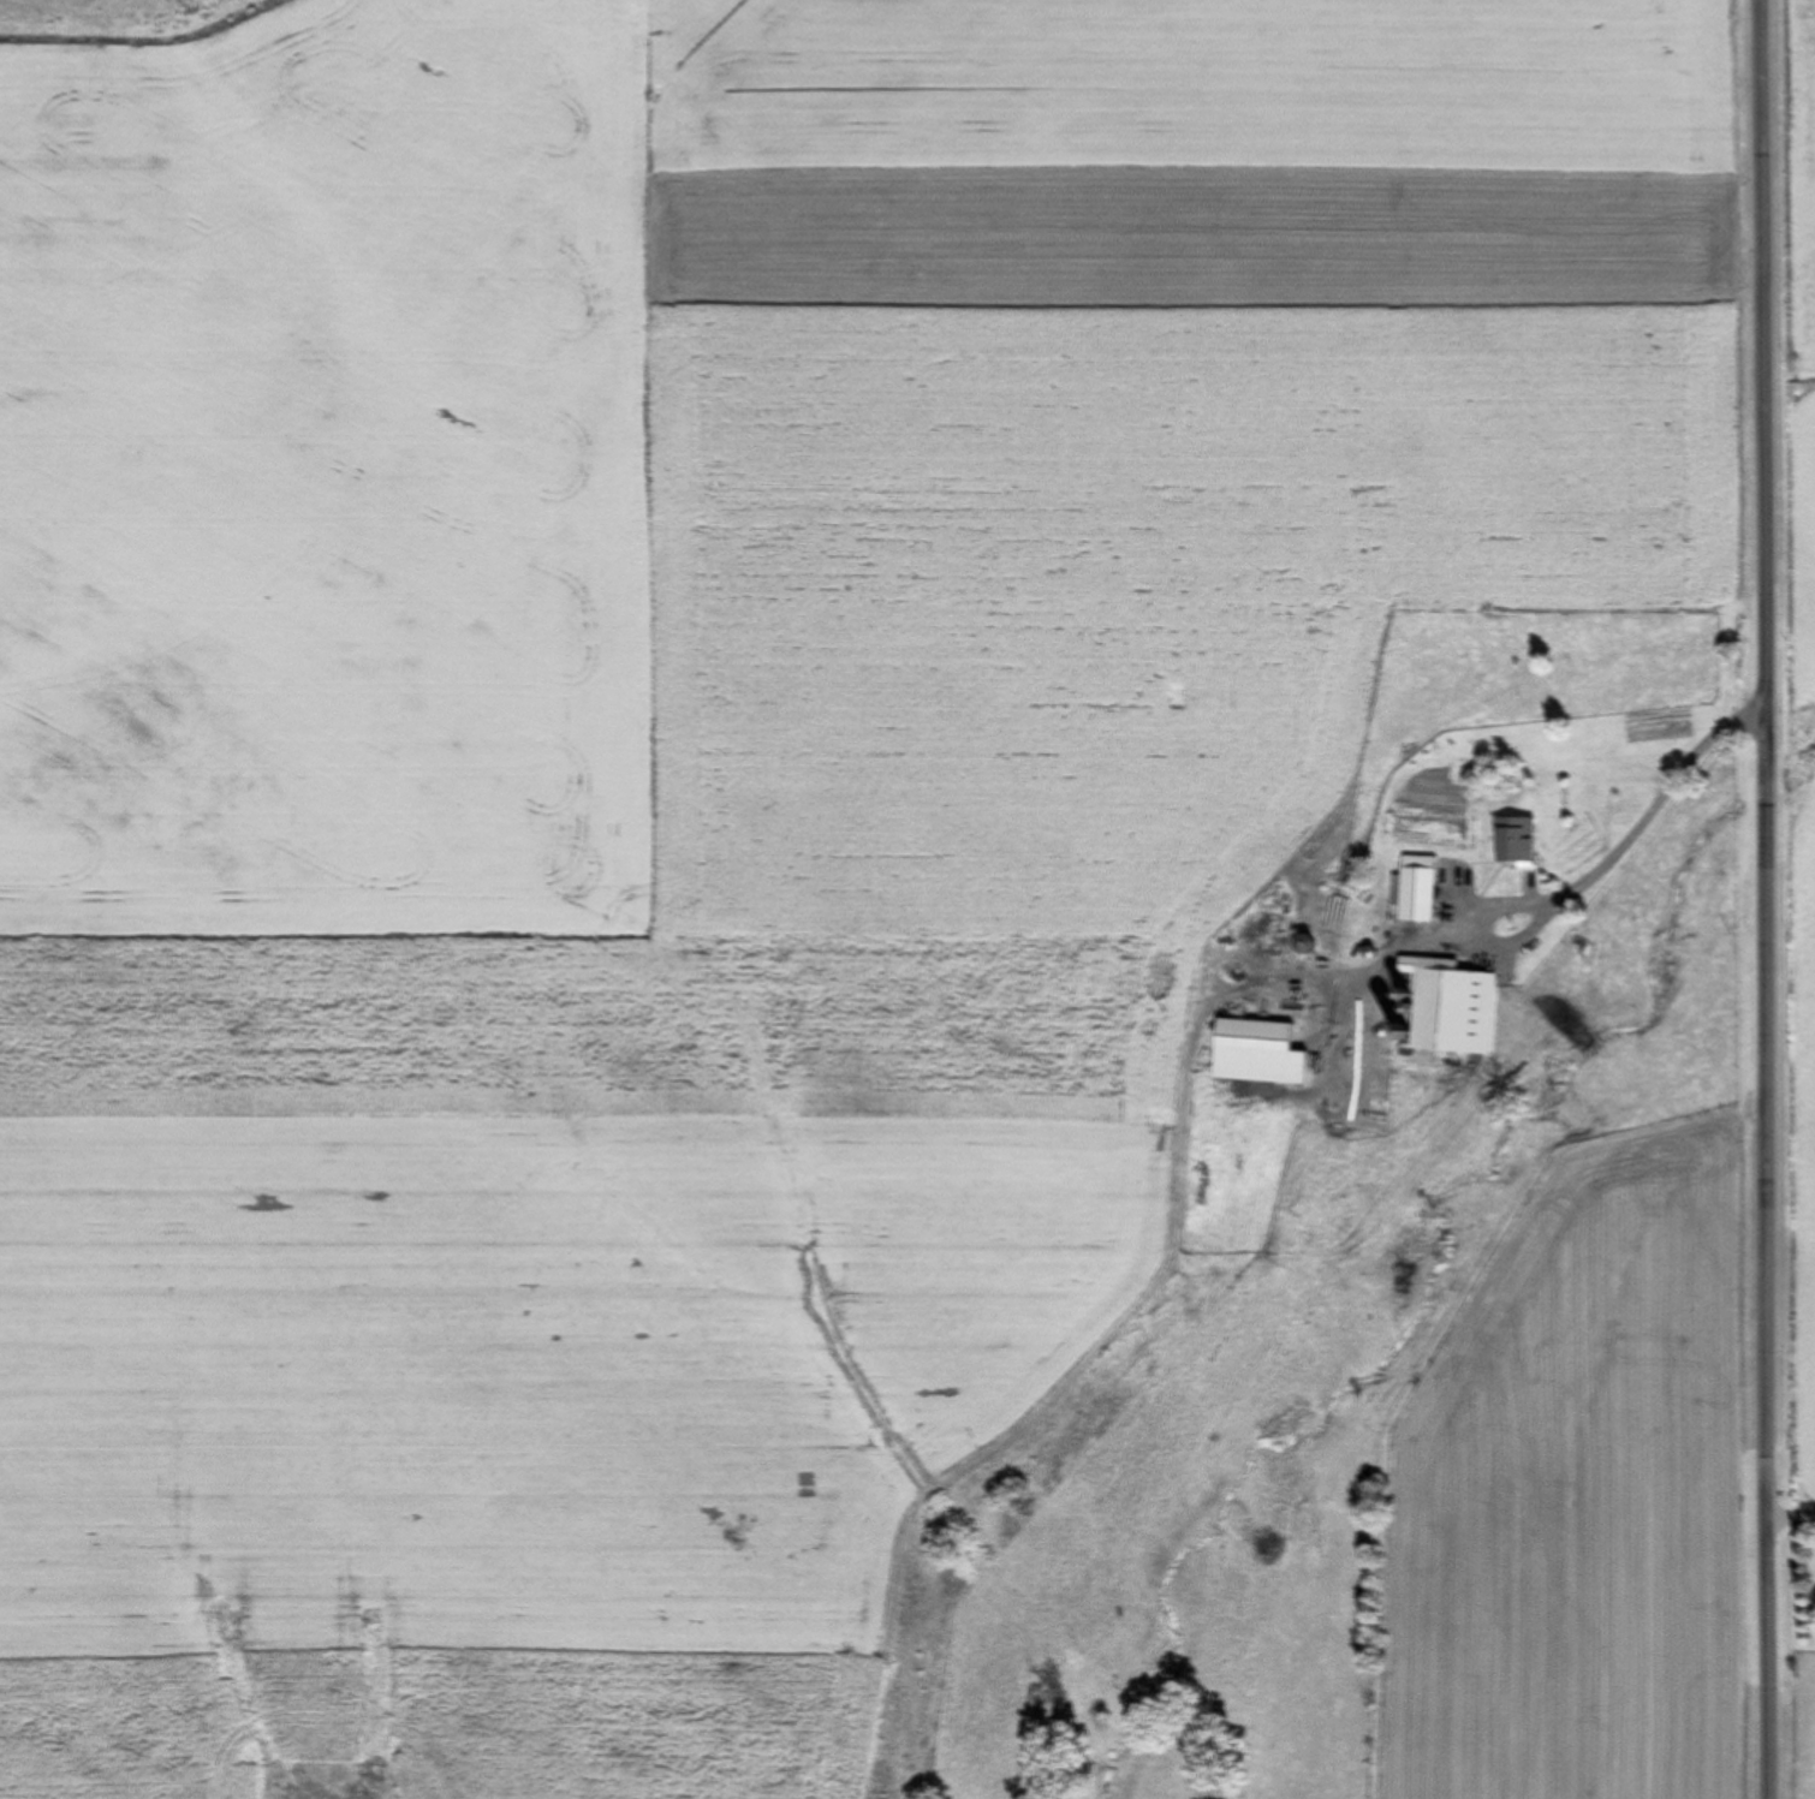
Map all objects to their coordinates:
building: (1522, 844)
building: (1424, 890)
road: (1765, 899)
building: (1339, 935)
building: (1454, 1006)
building: (1264, 1053)
road: (1791, 1518)

